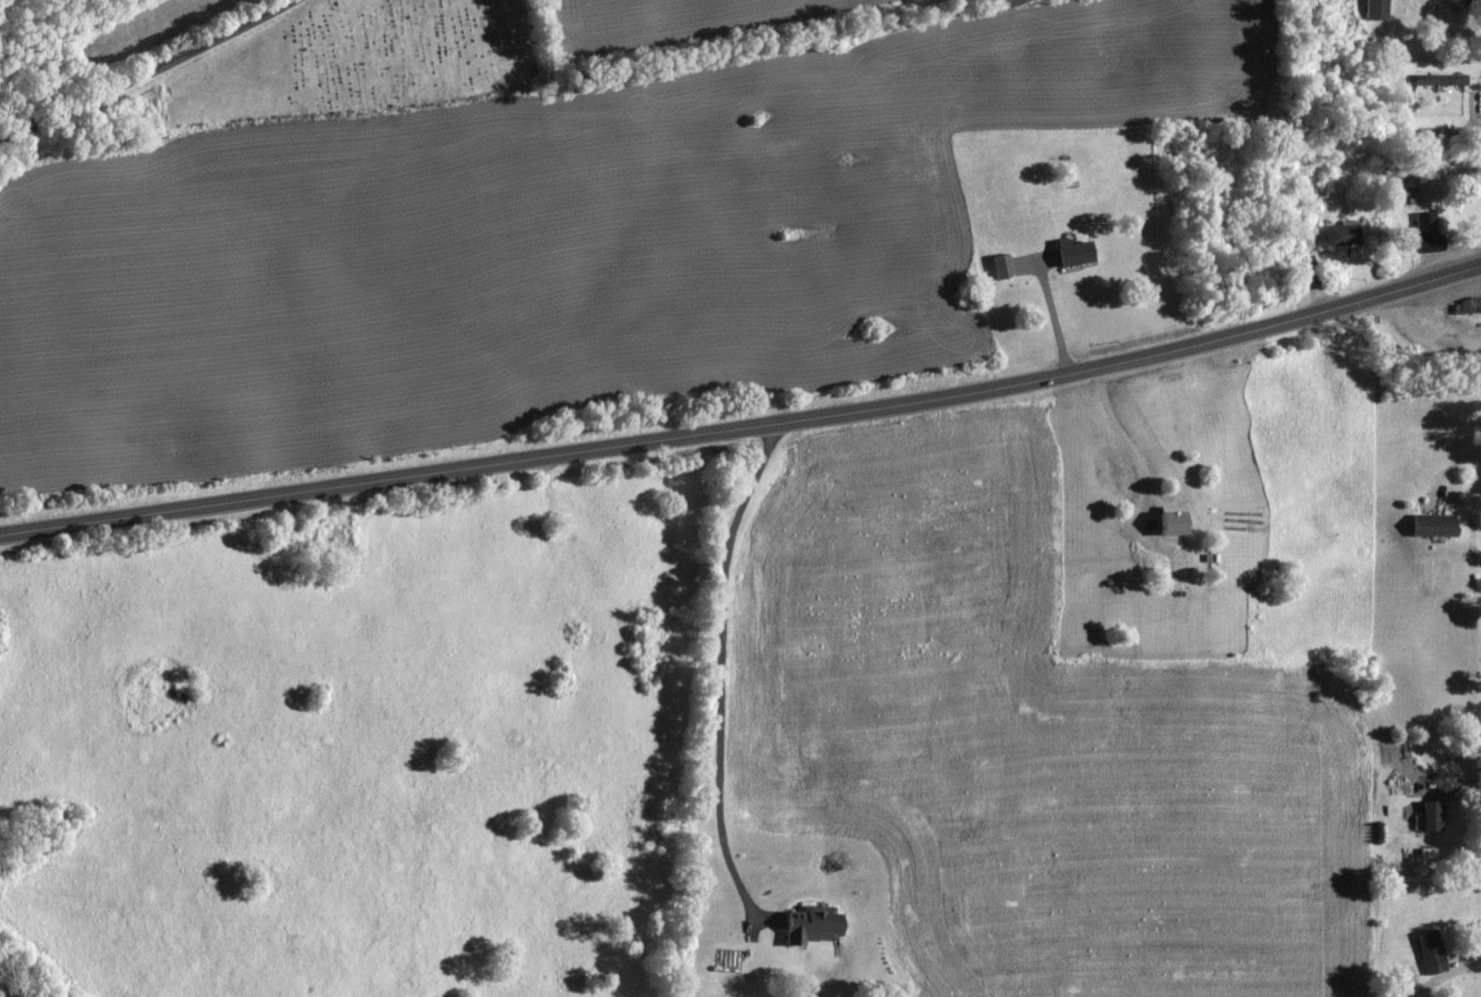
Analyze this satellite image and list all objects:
park: (345, 61)
road: (144, 71)
building: (1433, 79)
building: (1421, 232)
building: (1337, 234)
building: (1067, 252)
building: (996, 266)
building: (1466, 305)
road: (745, 429)
building: (1165, 520)
building: (1435, 526)
building: (1432, 816)
building: (814, 926)
building: (1431, 952)

